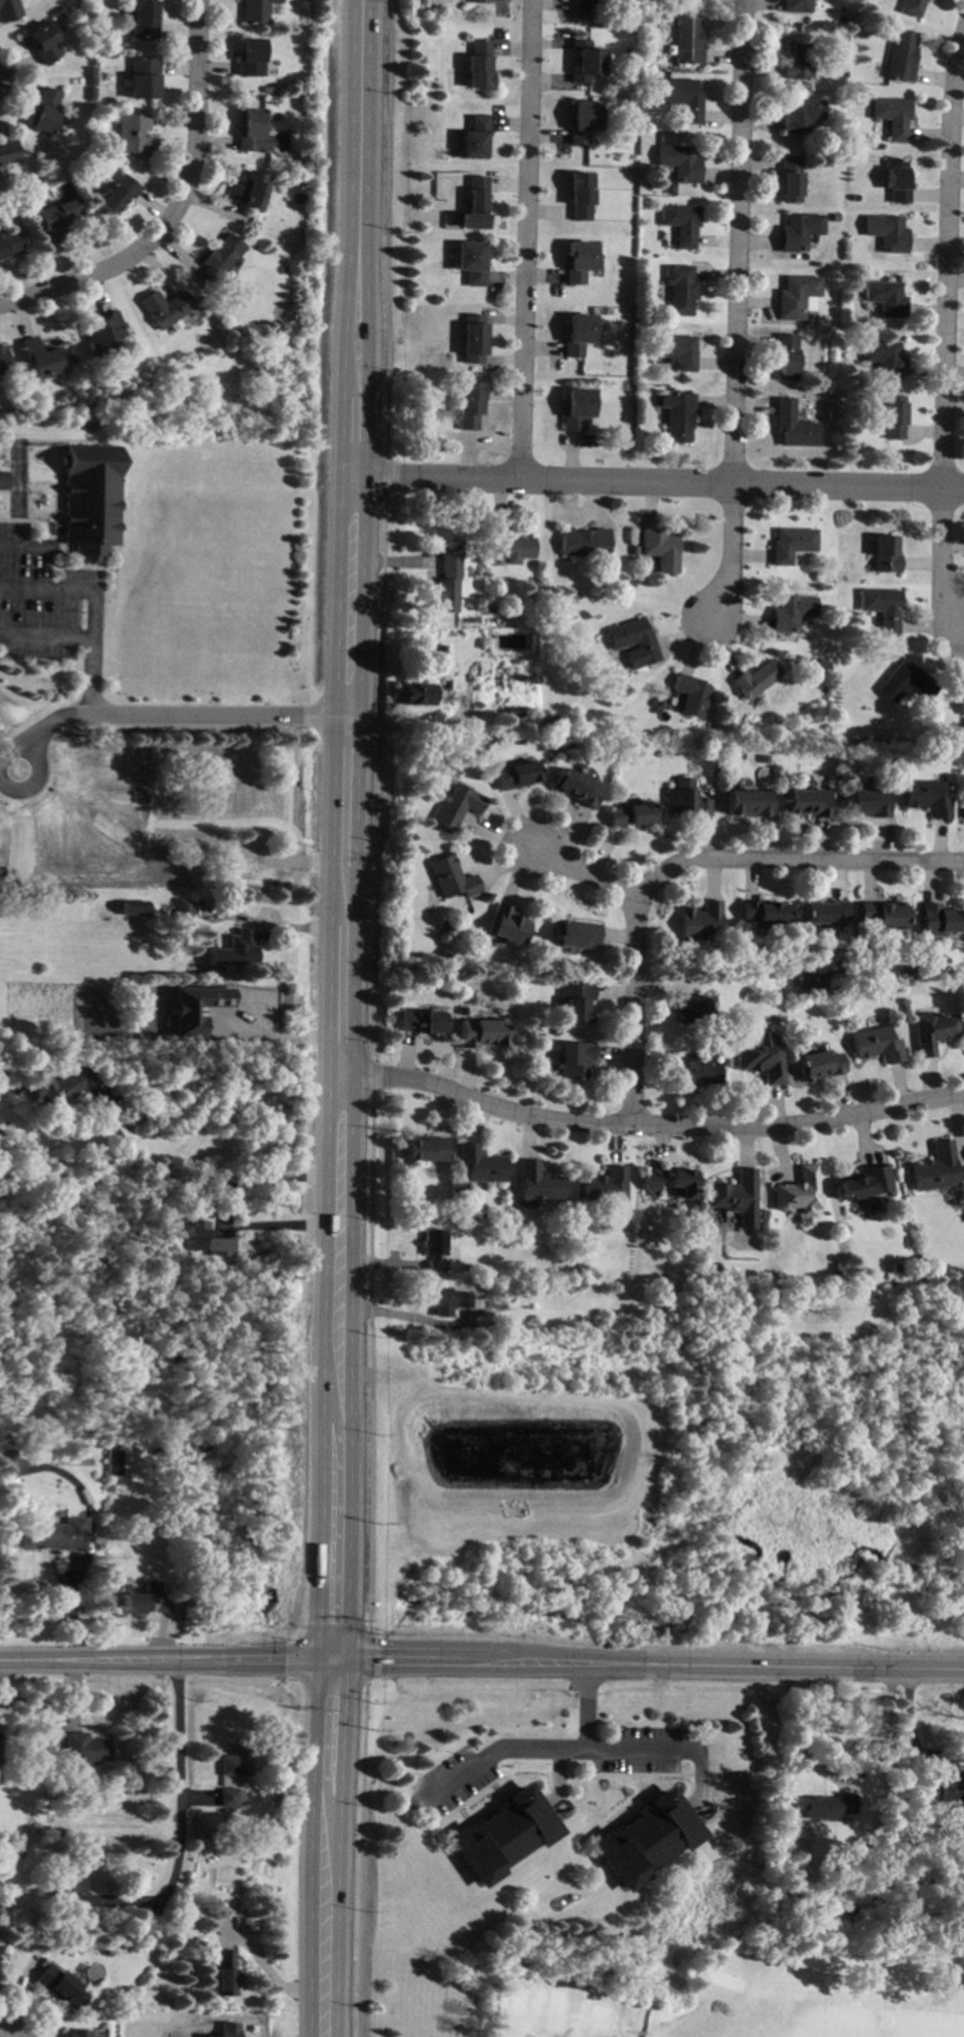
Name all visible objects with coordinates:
building: (478, 1)
building: (582, 5)
building: (795, 5)
building: (910, 7)
building: (7, 9)
building: (259, 10)
building: (141, 19)
building: (686, 40)
building: (41, 42)
building: (109, 55)
building: (899, 56)
building: (249, 58)
building: (271, 59)
building: (584, 61)
building: (796, 62)
building: (476, 65)
building: (141, 79)
building: (266, 89)
building: (681, 98)
building: (43, 111)
building: (798, 115)
building: (890, 117)
building: (580, 121)
building: (250, 130)
building: (132, 134)
road: (187, 135)
building: (472, 139)
building: (7, 151)
building: (300, 156)
building: (834, 159)
building: (678, 163)
building: (868, 174)
building: (789, 179)
building: (894, 180)
building: (246, 190)
building: (116, 194)
building: (578, 196)
building: (852, 198)
building: (474, 204)
building: (834, 216)
building: (58, 219)
building: (680, 223)
building: (797, 231)
building: (885, 232)
road: (518, 238)
road: (732, 243)
building: (9, 244)
building: (218, 260)
building: (577, 261)
building: (470, 262)
building: (814, 263)
road: (67, 285)
building: (679, 289)
building: (794, 296)
building: (884, 298)
building: (163, 308)
road: (938, 317)
building: (215, 327)
building: (101, 334)
building: (577, 334)
building: (472, 338)
building: (675, 351)
building: (785, 357)
building: (42, 358)
building: (883, 358)
building: (4, 361)
building: (468, 405)
building: (576, 408)
building: (678, 416)
building: (892, 417)
building: (792, 425)
building: (3, 480)
road: (660, 483)
building: (89, 496)
building: (584, 543)
building: (791, 544)
road: (12, 546)
building: (509, 546)
building: (660, 549)
building: (884, 554)
road: (723, 555)
building: (447, 585)
road: (353, 587)
building: (880, 607)
building: (489, 608)
building: (790, 612)
building: (632, 642)
building: (439, 652)
building: (755, 679)
building: (904, 682)
building: (444, 685)
building: (414, 694)
building: (690, 694)
building: (959, 699)
building: (512, 711)
road: (44, 713)
road: (138, 715)
building: (420, 757)
building: (515, 774)
building: (576, 787)
building: (218, 796)
building: (925, 797)
building: (685, 800)
building: (869, 800)
building: (807, 801)
building: (748, 802)
building: (963, 802)
building: (456, 806)
building: (630, 814)
road: (673, 864)
road: (578, 872)
building: (187, 874)
building: (451, 878)
building: (133, 907)
building: (184, 909)
building: (762, 911)
building: (166, 912)
building: (823, 912)
building: (881, 914)
building: (938, 919)
building: (700, 921)
building: (507, 925)
building: (573, 933)
building: (233, 950)
building: (189, 992)
building: (574, 1001)
building: (690, 1008)
building: (234, 1015)
building: (183, 1020)
building: (424, 1022)
building: (932, 1031)
building: (482, 1032)
building: (153, 1034)
road: (272, 1038)
building: (876, 1044)
building: (758, 1055)
building: (572, 1059)
building: (819, 1064)
building: (693, 1069)
building: (58, 1086)
road: (652, 1128)
building: (425, 1149)
building: (480, 1164)
building: (934, 1168)
road: (204, 1174)
building: (668, 1180)
building: (538, 1182)
building: (863, 1182)
building: (605, 1185)
building: (732, 1192)
building: (798, 1192)
road: (341, 1200)
road: (279, 1226)
building: (205, 1238)
building: (434, 1248)
building: (895, 1267)
building: (575, 1269)
building: (446, 1300)
building: (489, 1303)
building: (485, 1329)
building: (34, 1341)
building: (948, 1356)
building: (931, 1358)
building: (64, 1432)
building: (154, 1450)
building: (112, 1462)
building: (8, 1464)
building: (55, 1534)
building: (145, 1599)
road: (332, 1631)
traffic signals: (332, 1663)
road: (481, 1668)
building: (84, 1751)
road: (595, 1752)
road: (506, 1755)
building: (1, 1761)
building: (235, 1762)
road: (841, 1782)
building: (940, 1791)
building: (51, 1794)
building: (230, 1798)
building: (828, 1806)
road: (178, 1818)
building: (63, 1835)
building: (503, 1835)
building: (647, 1839)
building: (14, 1854)
building: (795, 1865)
building: (67, 1884)
building: (253, 1923)
building: (225, 1974)
park: (655, 1974)
building: (60, 1988)
building: (228, 2030)
building: (78, 2033)

